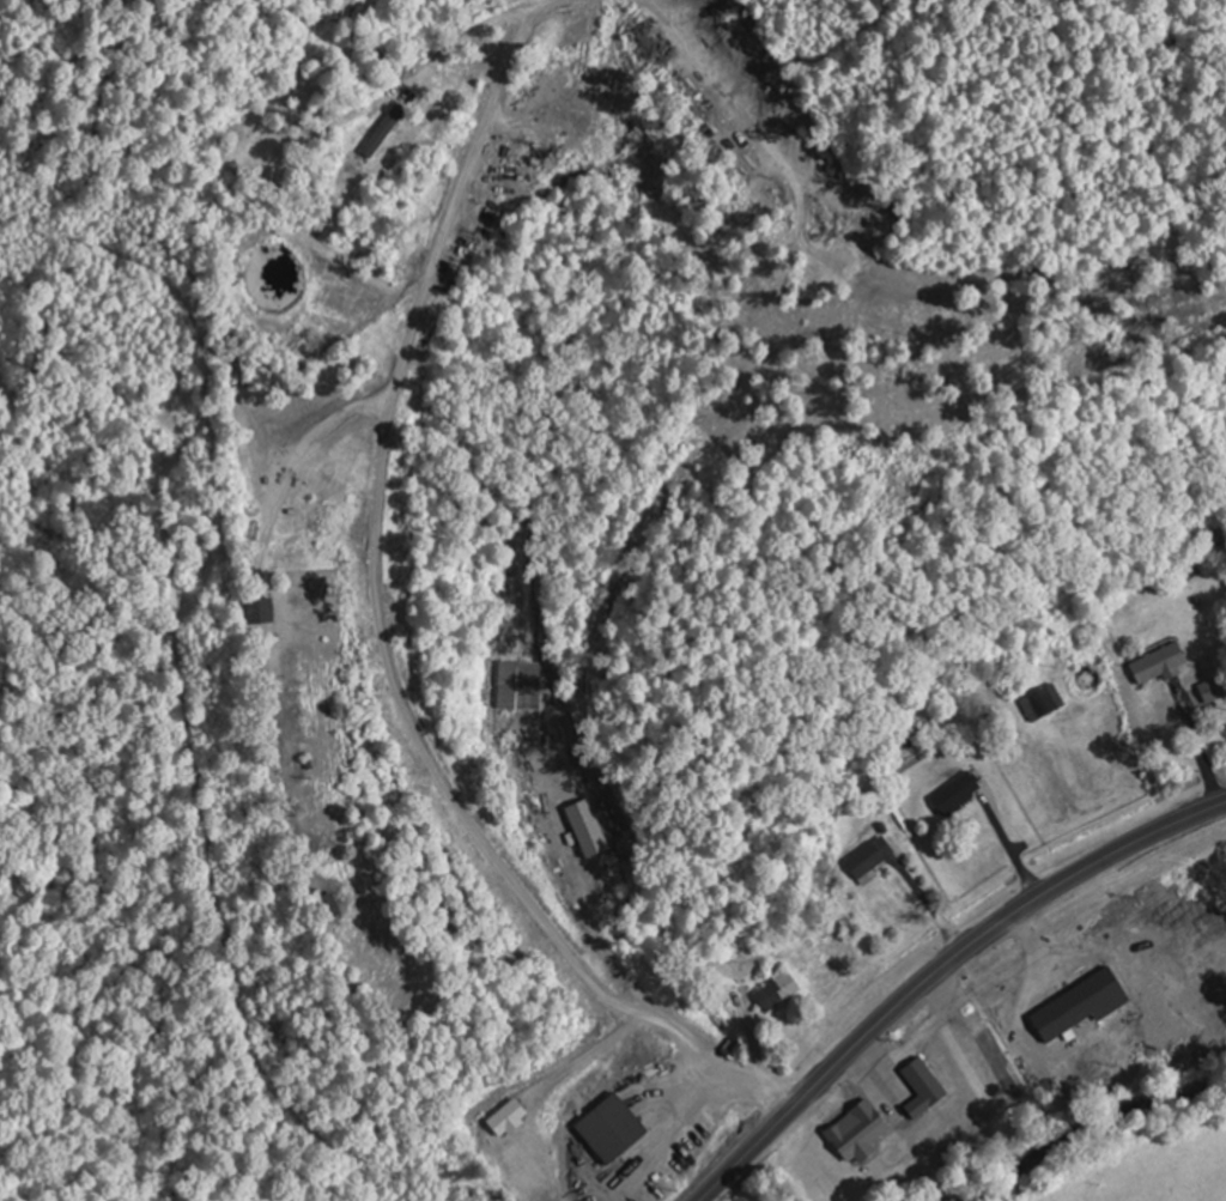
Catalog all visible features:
building: (1159, 662)
building: (1213, 689)
building: (1044, 702)
building: (960, 793)
building: (873, 855)
road: (940, 970)
building: (781, 991)
building: (1084, 1003)
building: (882, 1124)
building: (837, 1177)

